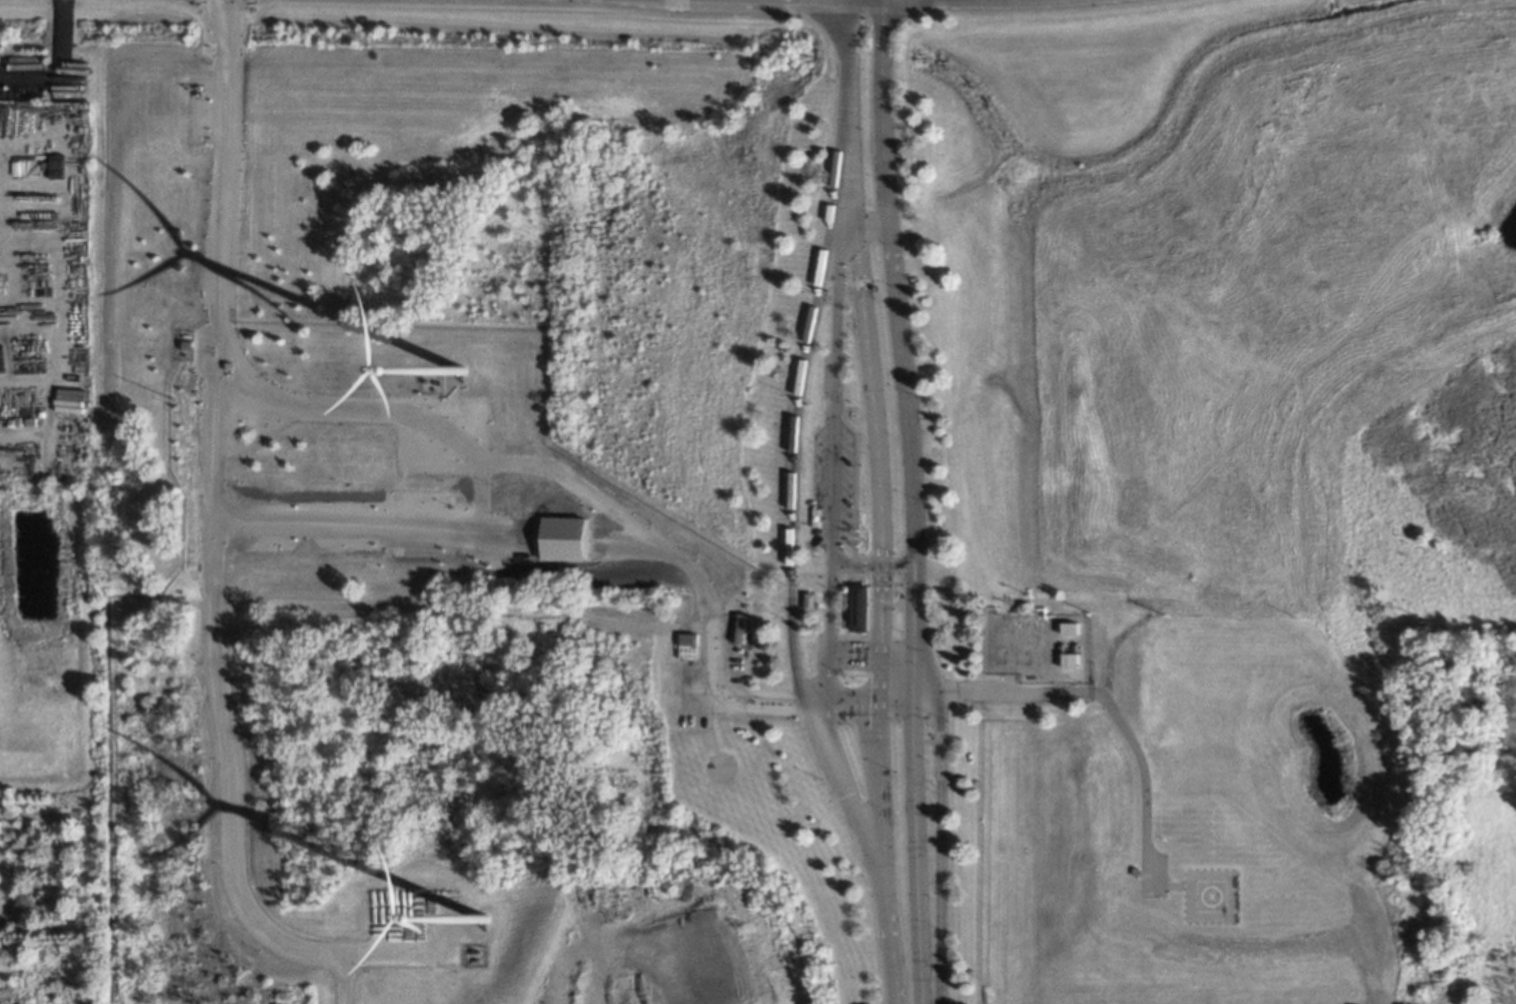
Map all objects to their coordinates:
road: (53, 67)
road: (224, 196)
road: (856, 283)
road: (889, 283)
road: (839, 295)
road: (808, 317)
wind turbine: (462, 371)
road: (828, 479)
building: (564, 539)
road: (489, 543)
road: (851, 564)
road: (892, 566)
building: (808, 602)
building: (855, 607)
road: (883, 700)
road: (223, 723)
road: (946, 724)
road: (814, 748)
road: (874, 785)
road: (908, 785)
road: (934, 849)
wind turbine: (482, 917)
road: (556, 970)
road: (1376, 999)

